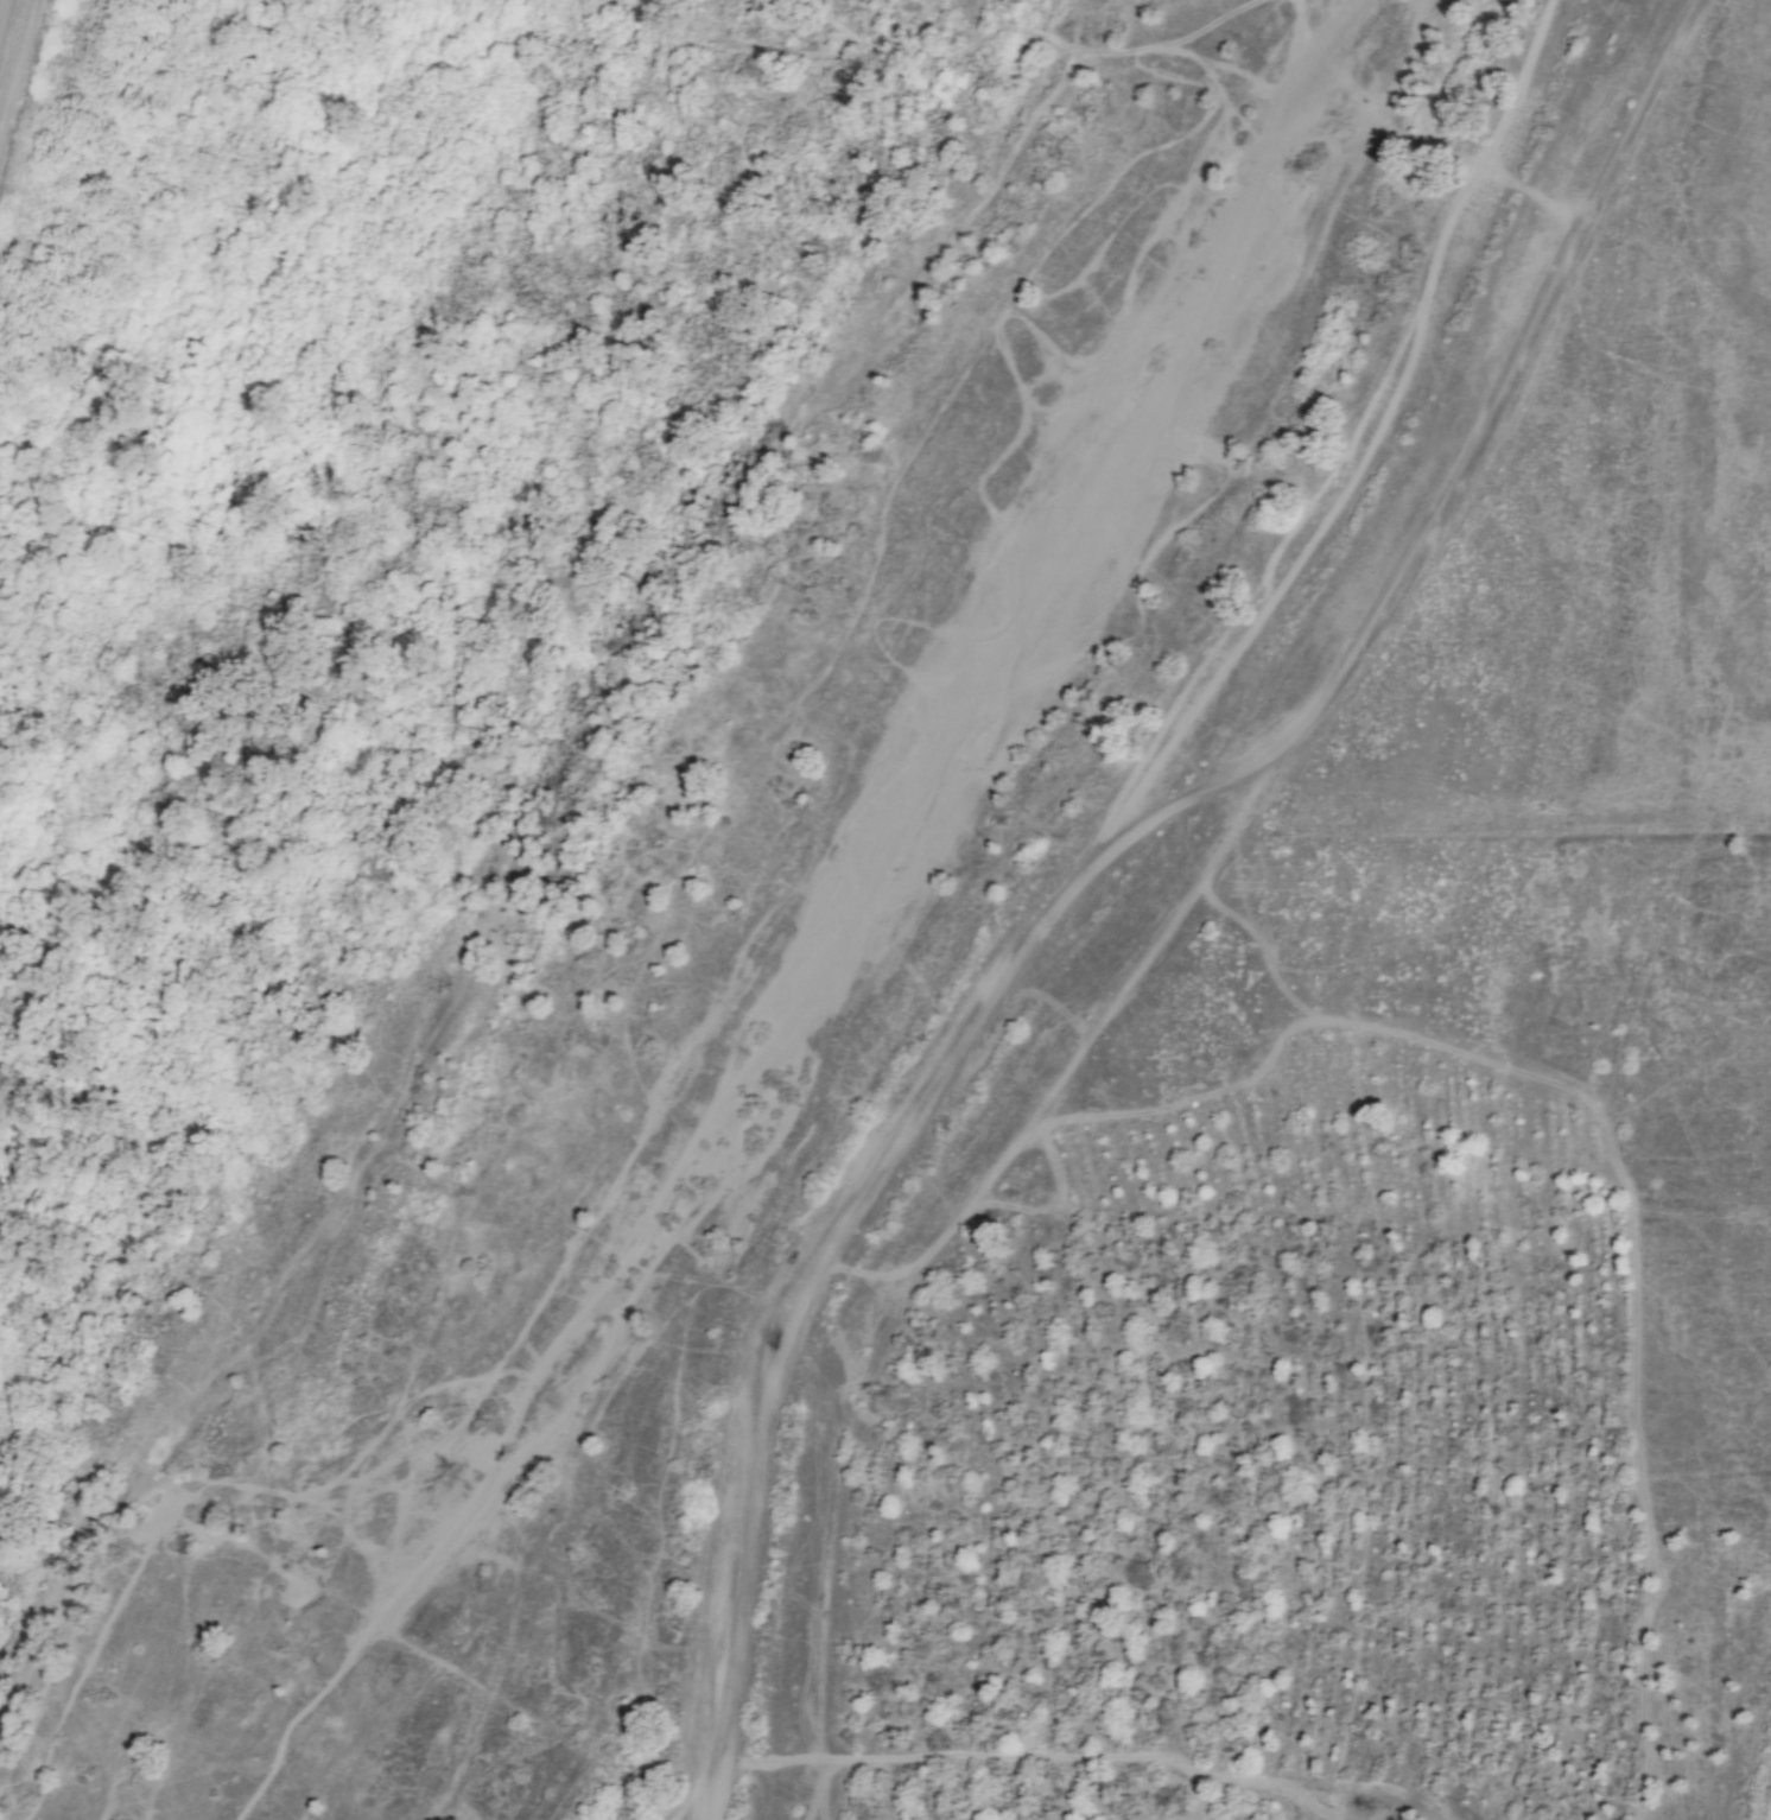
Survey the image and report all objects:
crop: (20, 72)
road: (990, 952)

